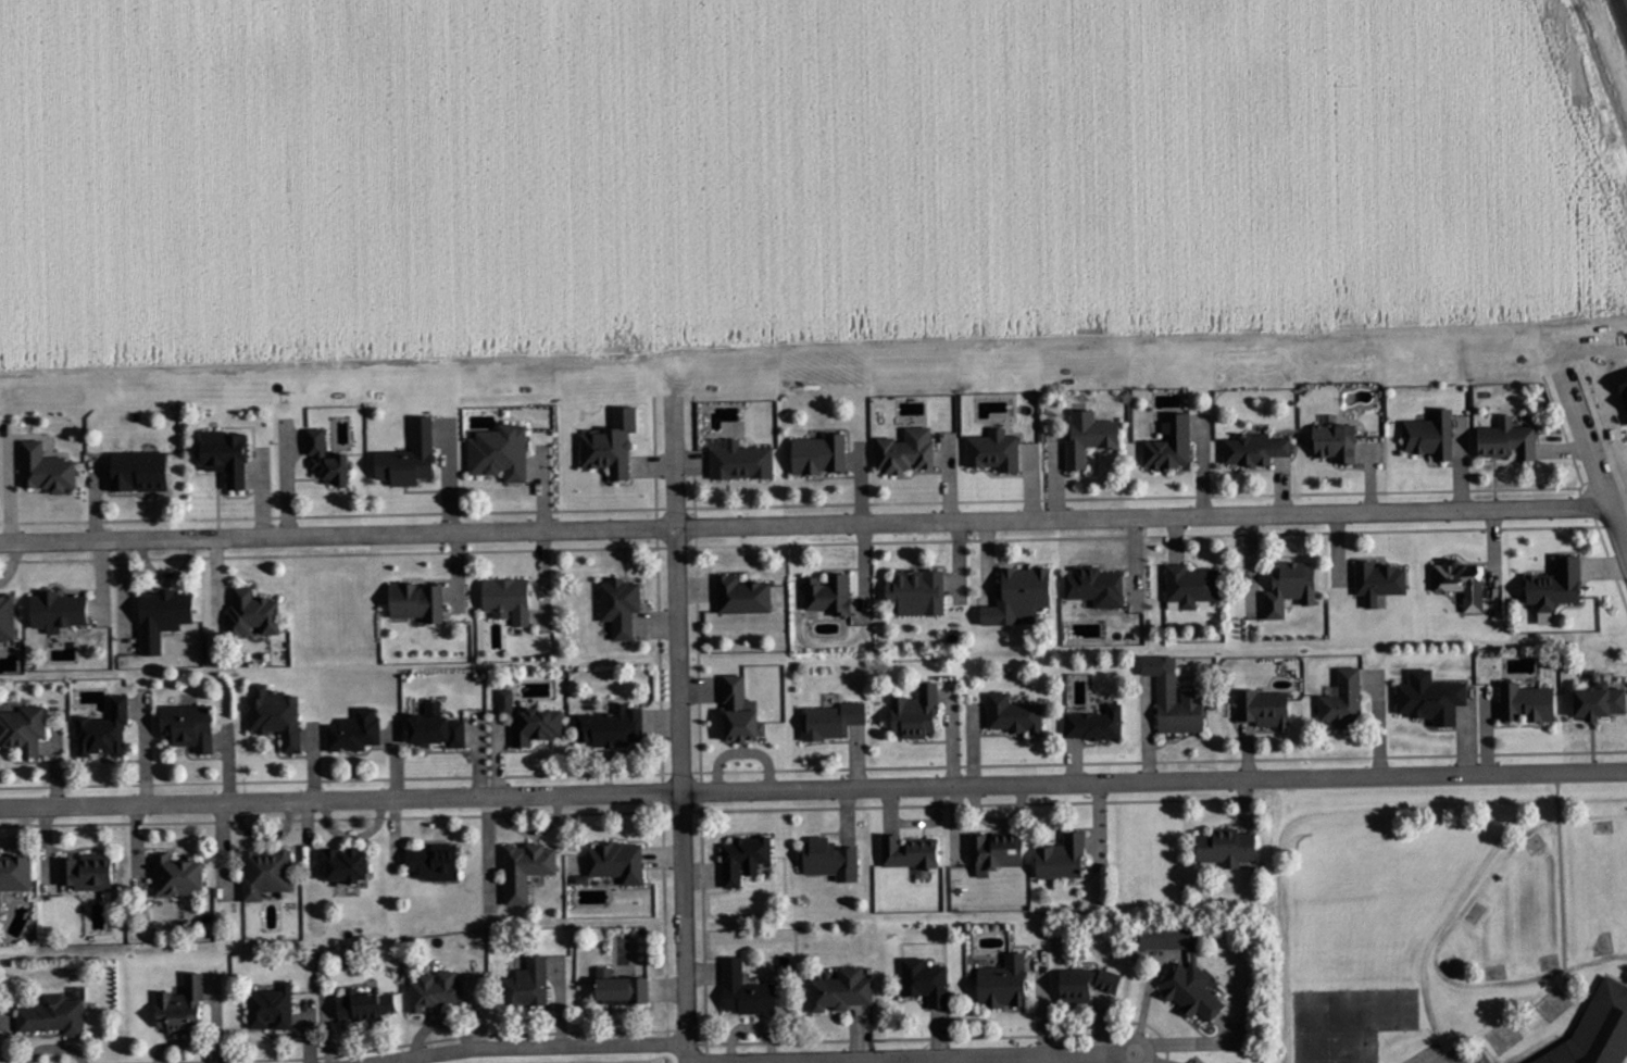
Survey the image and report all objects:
railway: (1625, 4)
building: (1093, 433)
building: (1434, 434)
road: (1589, 437)
building: (1511, 438)
building: (1340, 439)
building: (1175, 440)
building: (1259, 446)
building: (612, 447)
building: (911, 448)
building: (998, 448)
building: (504, 449)
building: (823, 451)
building: (231, 452)
building: (415, 453)
building: (333, 457)
building: (746, 458)
building: (50, 465)
building: (145, 467)
road: (679, 471)
road: (804, 522)
road: (1618, 525)
building: (1385, 577)
building: (1466, 579)
building: (1100, 583)
building: (1194, 583)
building: (1294, 583)
building: (1560, 583)
building: (922, 588)
building: (834, 590)
building: (747, 591)
building: (1024, 592)
building: (512, 596)
building: (422, 598)
building: (625, 602)
building: (63, 606)
building: (256, 610)
building: (10, 613)
building: (167, 613)
building: (1436, 695)
building: (1348, 697)
building: (1602, 698)
building: (1531, 699)
building: (506, 702)
building: (1184, 702)
building: (1268, 704)
building: (921, 709)
building: (279, 712)
building: (742, 712)
building: (1018, 712)
building: (836, 716)
building: (1100, 721)
building: (540, 722)
building: (193, 723)
building: (616, 725)
building: (25, 726)
building: (445, 726)
building: (109, 728)
building: (358, 728)
road: (681, 783)
road: (813, 786)
building: (1227, 848)
building: (910, 852)
building: (997, 852)
building: (622, 858)
building: (438, 859)
building: (1063, 859)
building: (744, 860)
building: (830, 860)
building: (352, 861)
building: (531, 865)
building: (91, 870)
building: (271, 870)
building: (184, 872)
building: (16, 873)
building: (1185, 973)
building: (533, 980)
building: (926, 983)
building: (1004, 984)
building: (1087, 985)
building: (439, 987)
building: (622, 989)
building: (747, 991)
building: (842, 991)
building: (372, 1002)
building: (186, 1003)
building: (274, 1005)
building: (58, 1012)
building: (1598, 1029)
road: (525, 1041)
road: (690, 1047)
road: (914, 1055)
road: (690, 1059)

